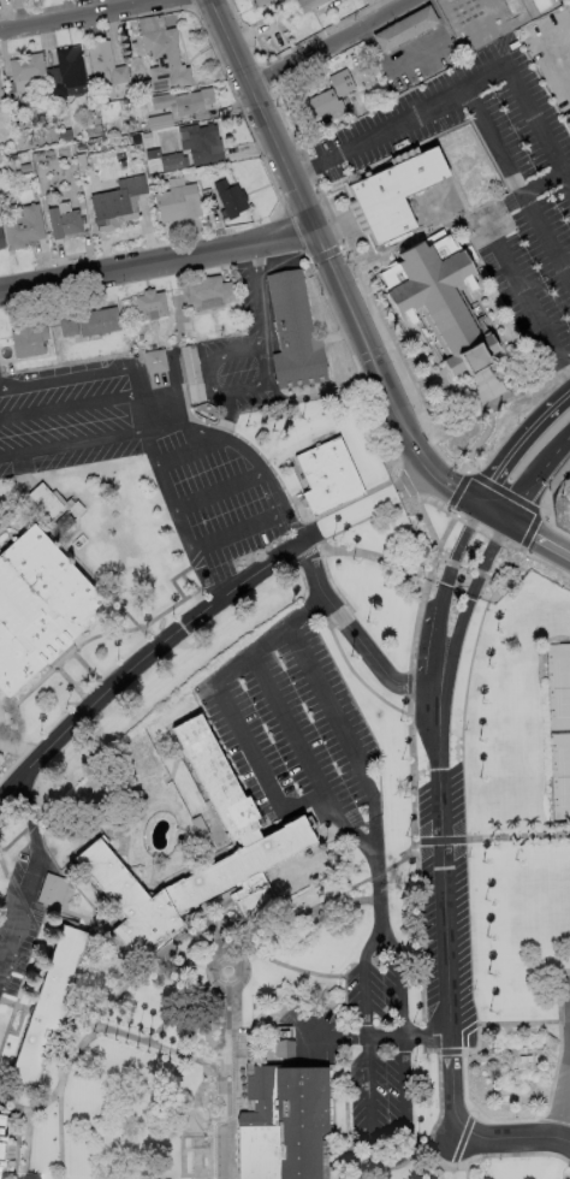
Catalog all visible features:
building: (563, 1)
building: (263, 4)
building: (309, 5)
road: (87, 16)
building: (489, 18)
building: (125, 25)
building: (404, 30)
building: (126, 34)
road: (327, 41)
building: (164, 63)
building: (106, 71)
building: (28, 73)
building: (67, 73)
building: (367, 78)
building: (342, 83)
road: (456, 91)
building: (394, 93)
building: (1, 102)
building: (185, 103)
building: (319, 106)
building: (357, 114)
building: (160, 123)
building: (139, 125)
road: (452, 126)
building: (96, 130)
building: (64, 136)
building: (149, 137)
building: (24, 141)
building: (201, 144)
building: (79, 146)
building: (43, 158)
building: (162, 162)
building: (24, 168)
road: (450, 173)
road: (542, 179)
road: (316, 182)
road: (517, 182)
road: (339, 184)
building: (393, 194)
building: (231, 199)
building: (209, 201)
building: (177, 203)
parking lot: (528, 203)
building: (119, 206)
building: (64, 223)
building: (23, 227)
road: (428, 230)
building: (1, 238)
road: (329, 262)
road: (352, 262)
road: (158, 263)
road: (515, 273)
road: (480, 285)
road: (374, 291)
building: (207, 292)
building: (440, 302)
building: (149, 304)
building: (96, 321)
road: (388, 324)
building: (67, 325)
road: (400, 327)
building: (293, 333)
road: (331, 338)
building: (26, 339)
road: (394, 340)
parking lot: (243, 350)
road: (262, 351)
road: (426, 351)
road: (523, 351)
building: (155, 361)
road: (215, 362)
building: (497, 365)
road: (58, 373)
building: (191, 373)
road: (426, 379)
road: (405, 380)
road: (530, 385)
road: (463, 391)
road: (123, 396)
road: (308, 396)
road: (61, 407)
road: (462, 425)
road: (482, 438)
road: (148, 439)
road: (60, 440)
road: (519, 444)
road: (196, 454)
parking lot: (147, 455)
building: (327, 476)
road: (536, 476)
road: (272, 487)
road: (4, 491)
road: (221, 491)
road: (456, 492)
building: (42, 503)
building: (73, 510)
road: (493, 511)
road: (547, 519)
traffic signals: (507, 520)
road: (2, 525)
road: (1, 528)
road: (239, 529)
road: (189, 535)
road: (538, 537)
road: (378, 559)
road: (78, 562)
road: (174, 576)
road: (329, 581)
road: (189, 582)
road: (440, 600)
building: (38, 606)
road: (465, 608)
road: (338, 617)
road: (354, 638)
road: (79, 647)
road: (141, 662)
road: (85, 666)
road: (81, 677)
road: (357, 680)
road: (69, 682)
park: (563, 686)
road: (90, 688)
road: (6, 705)
parking lot: (291, 729)
road: (291, 733)
road: (343, 735)
road: (6, 745)
road: (12, 769)
park: (564, 774)
road: (272, 793)
building: (200, 828)
building: (232, 835)
road: (518, 836)
road: (16, 837)
road: (441, 841)
parking lot: (449, 858)
road: (4, 870)
road: (32, 879)
building: (52, 891)
road: (329, 897)
building: (129, 902)
road: (222, 903)
road: (417, 903)
parking lot: (20, 917)
road: (224, 932)
parking lot: (435, 936)
road: (446, 942)
road: (236, 954)
road: (351, 964)
road: (221, 967)
road: (290, 967)
road: (343, 1003)
road: (14, 1006)
road: (183, 1006)
building: (48, 1007)
parking lot: (566, 1015)
road: (547, 1021)
road: (95, 1024)
road: (18, 1025)
road: (7, 1026)
road: (97, 1031)
road: (363, 1036)
road: (142, 1043)
road: (450, 1050)
building: (284, 1051)
parking lot: (375, 1055)
building: (527, 1055)
road: (367, 1066)
road: (222, 1077)
road: (17, 1095)
road: (563, 1098)
road: (32, 1112)
fountain: (247, 1120)
road: (488, 1120)
building: (281, 1121)
building: (1, 1134)
road: (530, 1137)
road: (214, 1139)
road: (25, 1145)
road: (184, 1161)
road: (329, 1165)
road: (439, 1169)
road: (465, 1169)
road: (192, 1175)

